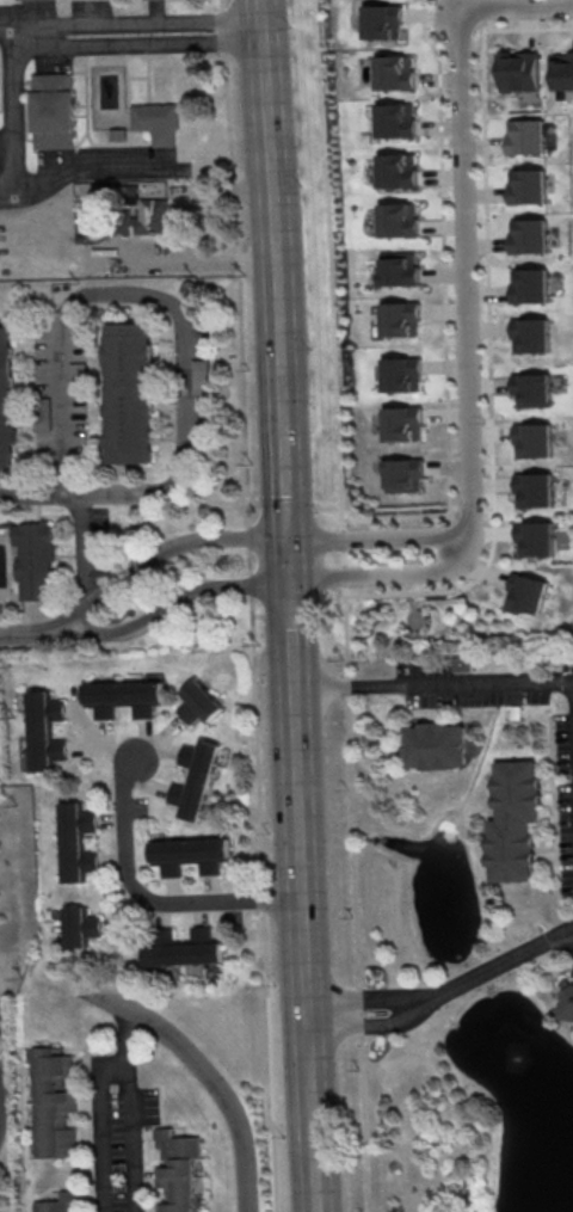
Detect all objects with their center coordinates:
road: (140, 19)
road: (14, 24)
road: (141, 43)
building: (562, 70)
building: (520, 72)
building: (53, 110)
road: (18, 122)
building: (158, 122)
building: (395, 125)
building: (524, 143)
road: (79, 166)
building: (396, 176)
building: (525, 193)
building: (144, 215)
road: (466, 215)
building: (396, 226)
building: (526, 244)
road: (486, 262)
building: (398, 275)
road: (276, 289)
building: (529, 293)
road: (118, 296)
road: (332, 299)
building: (399, 325)
building: (530, 340)
road: (444, 346)
building: (201, 375)
building: (78, 376)
building: (400, 381)
building: (532, 396)
building: (130, 399)
building: (6, 404)
building: (401, 429)
building: (403, 480)
road: (87, 494)
building: (538, 537)
road: (469, 548)
road: (170, 553)
building: (36, 560)
road: (402, 596)
road: (178, 597)
road: (251, 605)
road: (289, 634)
road: (41, 635)
building: (462, 663)
road: (432, 684)
building: (124, 697)
building: (201, 703)
building: (44, 731)
building: (436, 746)
building: (196, 780)
building: (515, 822)
building: (75, 842)
building: (190, 855)
road: (147, 903)
road: (356, 905)
building: (78, 927)
building: (185, 948)
road: (302, 950)
road: (491, 968)
building: (566, 1002)
road: (358, 1005)
building: (0, 1010)
road: (358, 1020)
road: (212, 1075)
building: (51, 1102)
road: (124, 1111)
building: (175, 1170)
building: (58, 1202)

